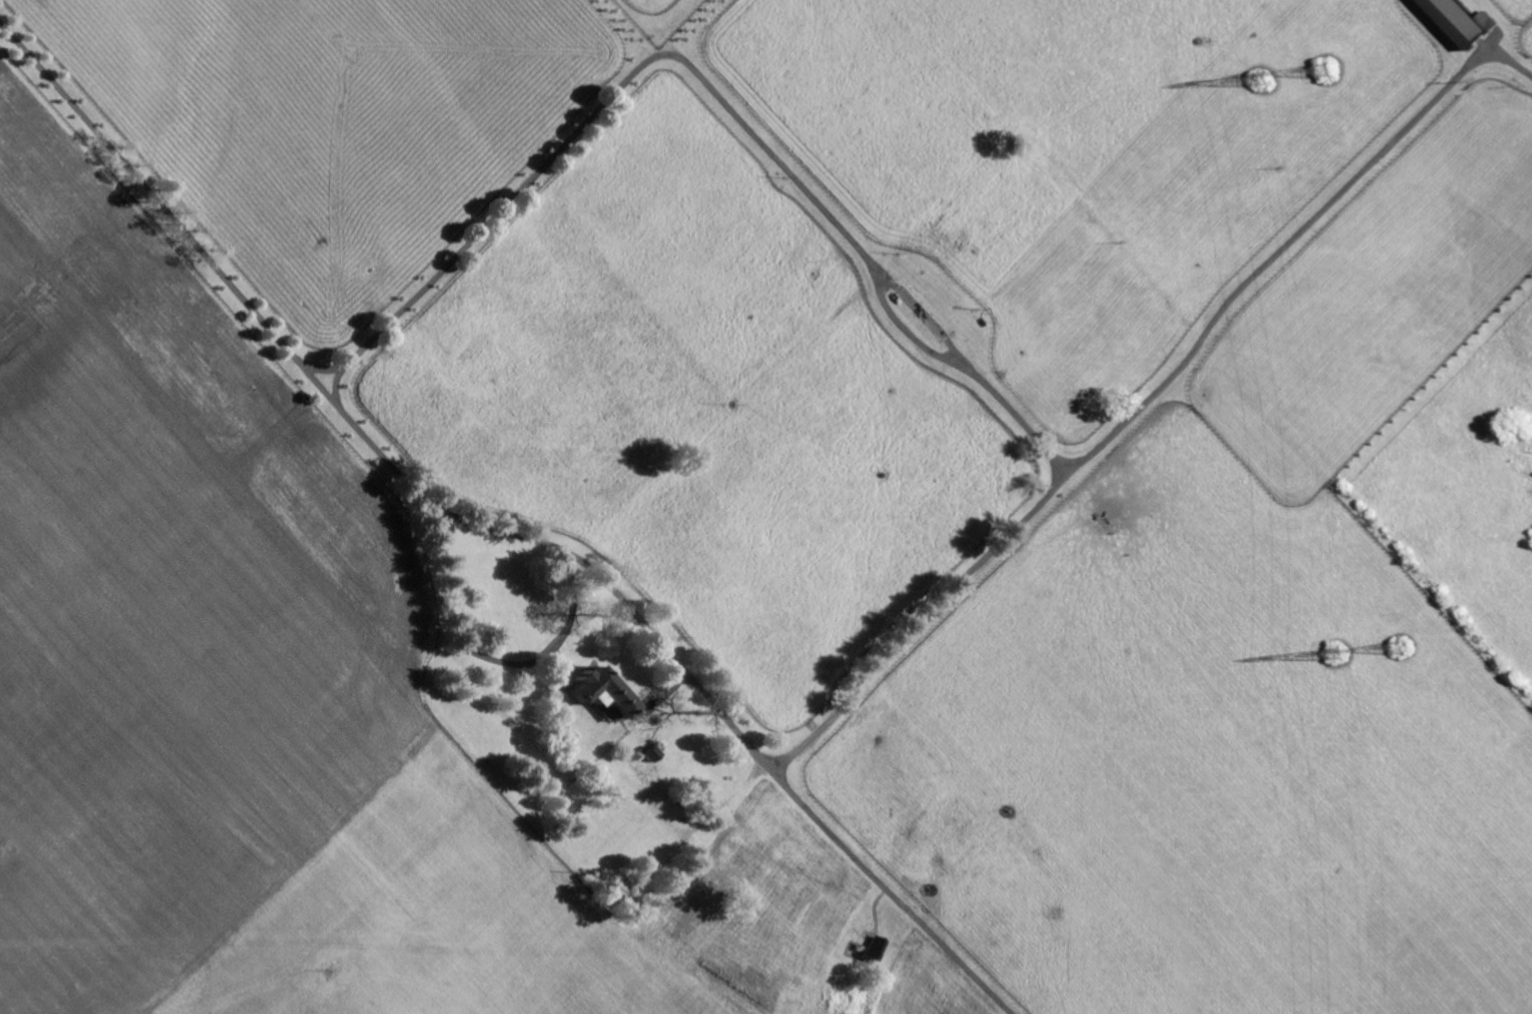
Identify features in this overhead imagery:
building: (1466, 20)
power tower: (1330, 73)
power tower: (1265, 83)
road: (849, 236)
road: (1290, 241)
road: (209, 258)
road: (339, 384)
road: (556, 647)
power tower: (1409, 647)
power tower: (1338, 655)
building: (608, 693)
road: (786, 785)

